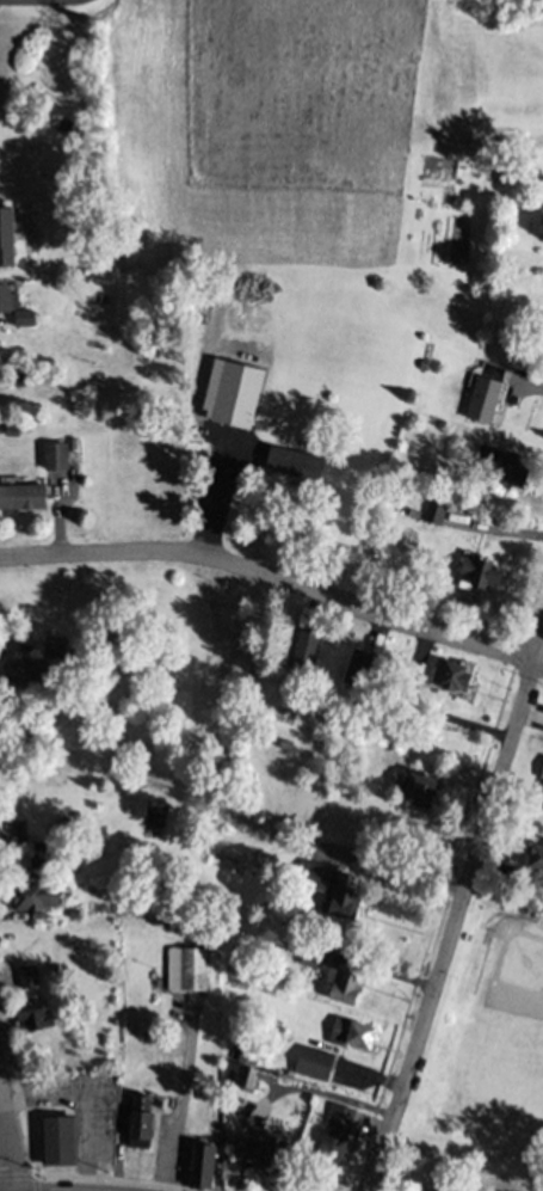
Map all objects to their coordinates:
road: (41, 4)
crop: (292, 140)
building: (13, 240)
building: (25, 315)
building: (539, 342)
building: (230, 398)
building: (480, 399)
building: (61, 460)
building: (286, 468)
building: (490, 469)
building: (27, 499)
road: (524, 511)
building: (430, 518)
road: (272, 577)
building: (475, 579)
road: (535, 602)
building: (303, 650)
building: (17, 676)
building: (455, 684)
building: (538, 792)
building: (413, 794)
building: (532, 864)
building: (14, 866)
building: (327, 896)
building: (27, 903)
road: (455, 913)
road: (434, 923)
building: (186, 975)
building: (26, 978)
building: (340, 987)
building: (25, 1023)
park: (494, 1031)
building: (348, 1039)
building: (311, 1068)
road: (19, 1091)
building: (343, 1124)
building: (134, 1126)
building: (53, 1147)
building: (328, 1156)
road: (5, 1161)
building: (198, 1169)
road: (84, 1183)

